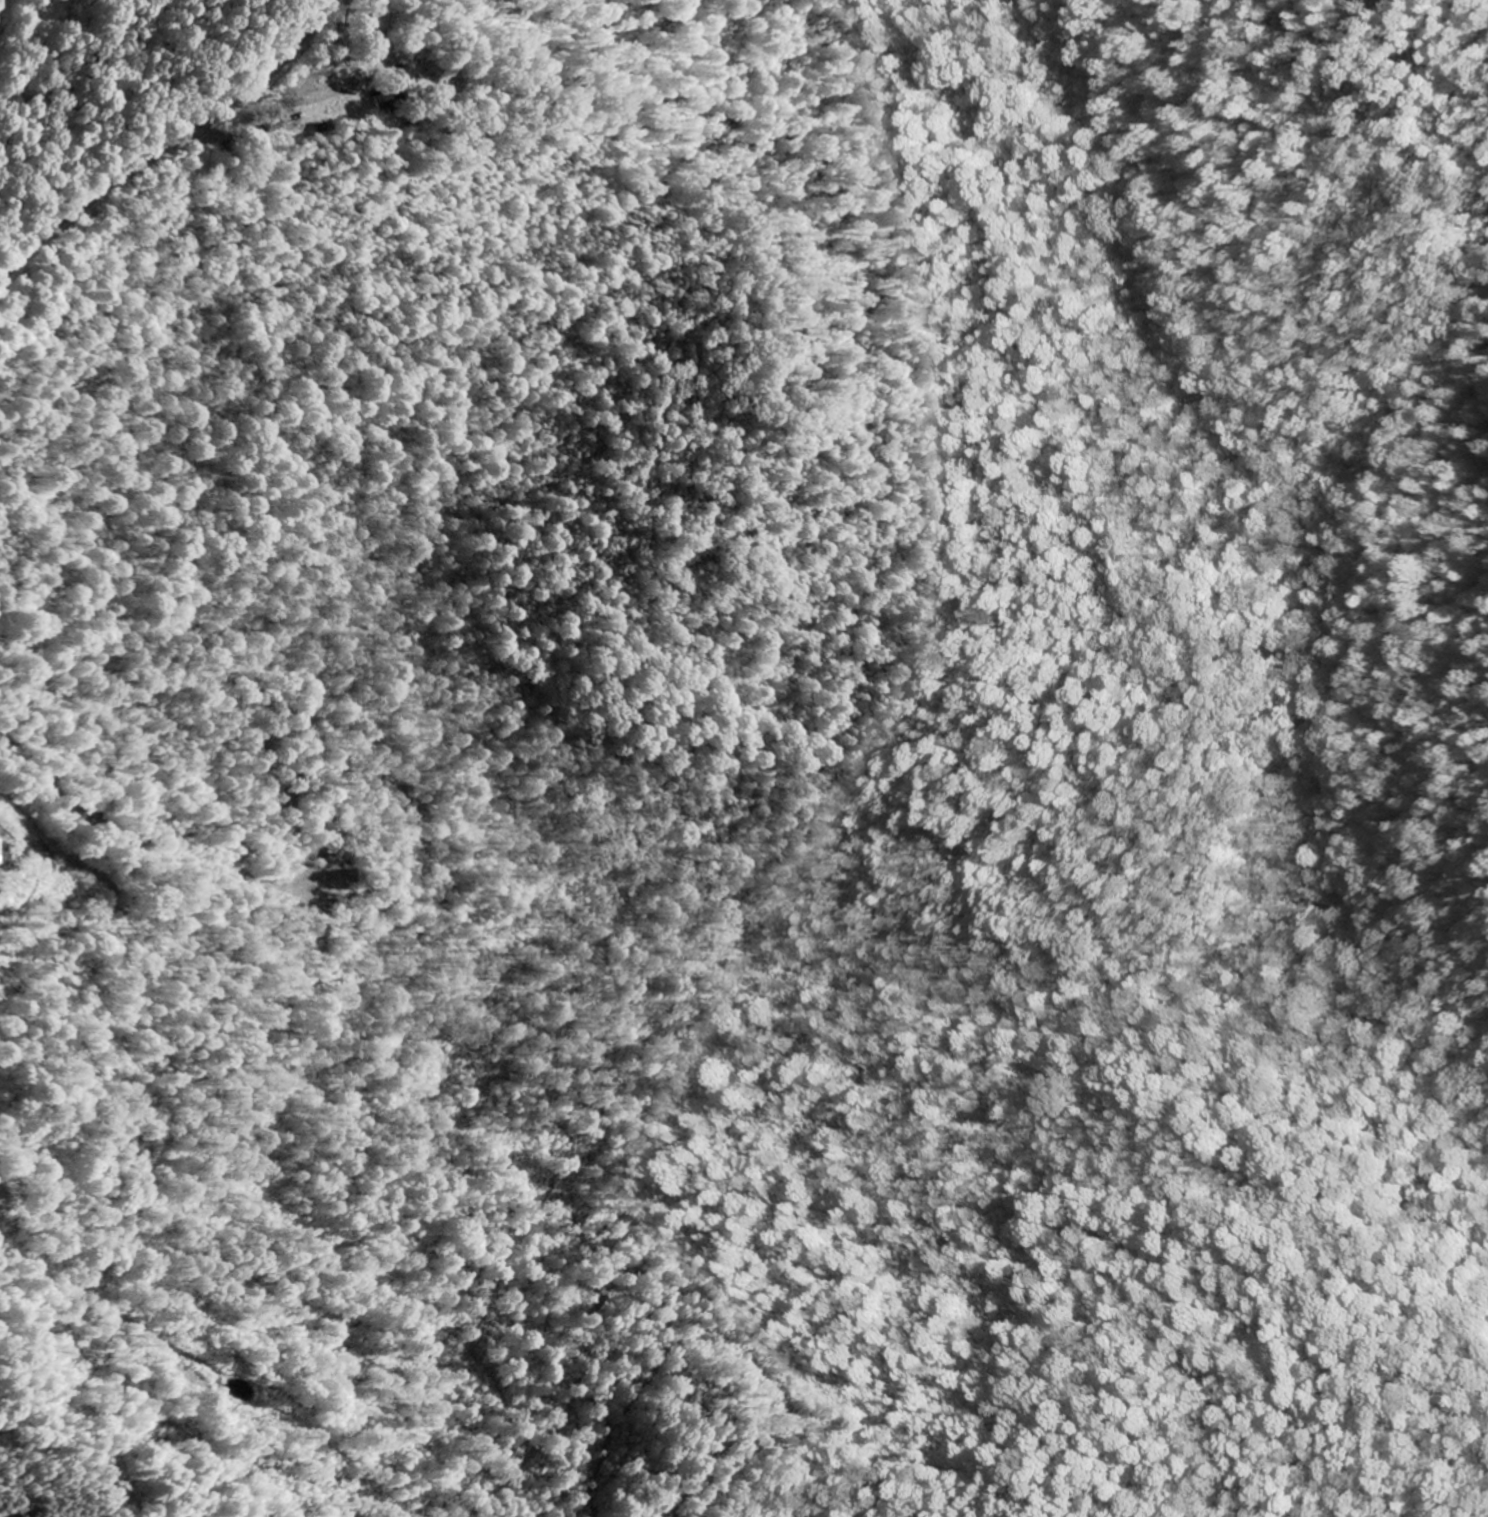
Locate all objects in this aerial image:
road: (169, 143)

